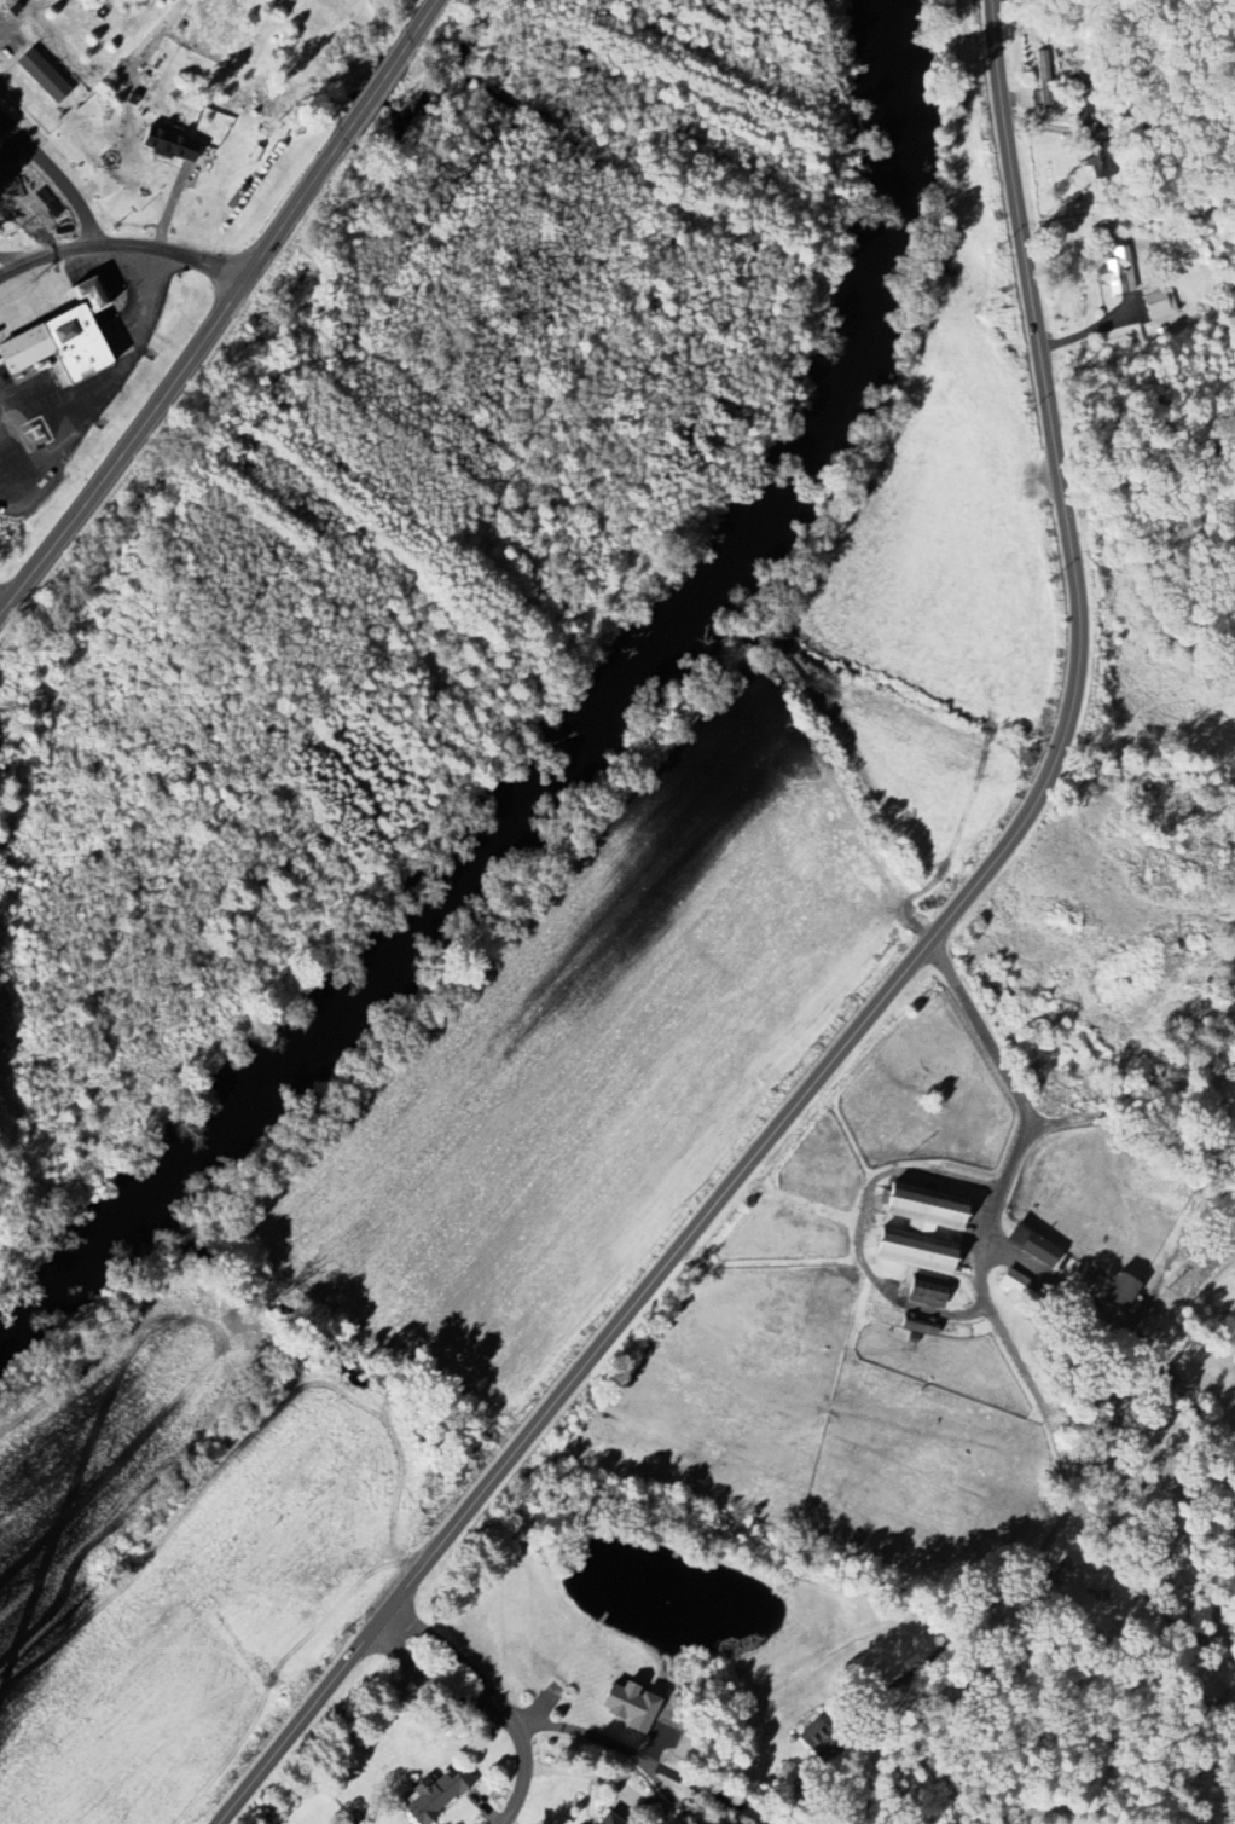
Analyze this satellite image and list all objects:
building: (39, 76)
building: (167, 145)
road: (58, 174)
road: (497, 226)
road: (123, 243)
road: (13, 260)
building: (1117, 272)
building: (1159, 303)
road: (225, 309)
river: (866, 319)
building: (69, 337)
road: (98, 396)
road: (1149, 492)
road: (561, 544)
river: (439, 896)
road: (883, 996)
building: (916, 1229)
river: (79, 1246)
building: (1030, 1247)
building: (1011, 1284)
building: (924, 1292)
building: (1117, 1293)
building: (916, 1326)
road: (1136, 1342)
road: (1039, 1399)
road: (457, 1655)
road: (436, 1680)
building: (628, 1707)
road: (624, 1750)
road: (526, 1771)
road: (701, 1787)
building: (434, 1796)
building: (611, 1818)

